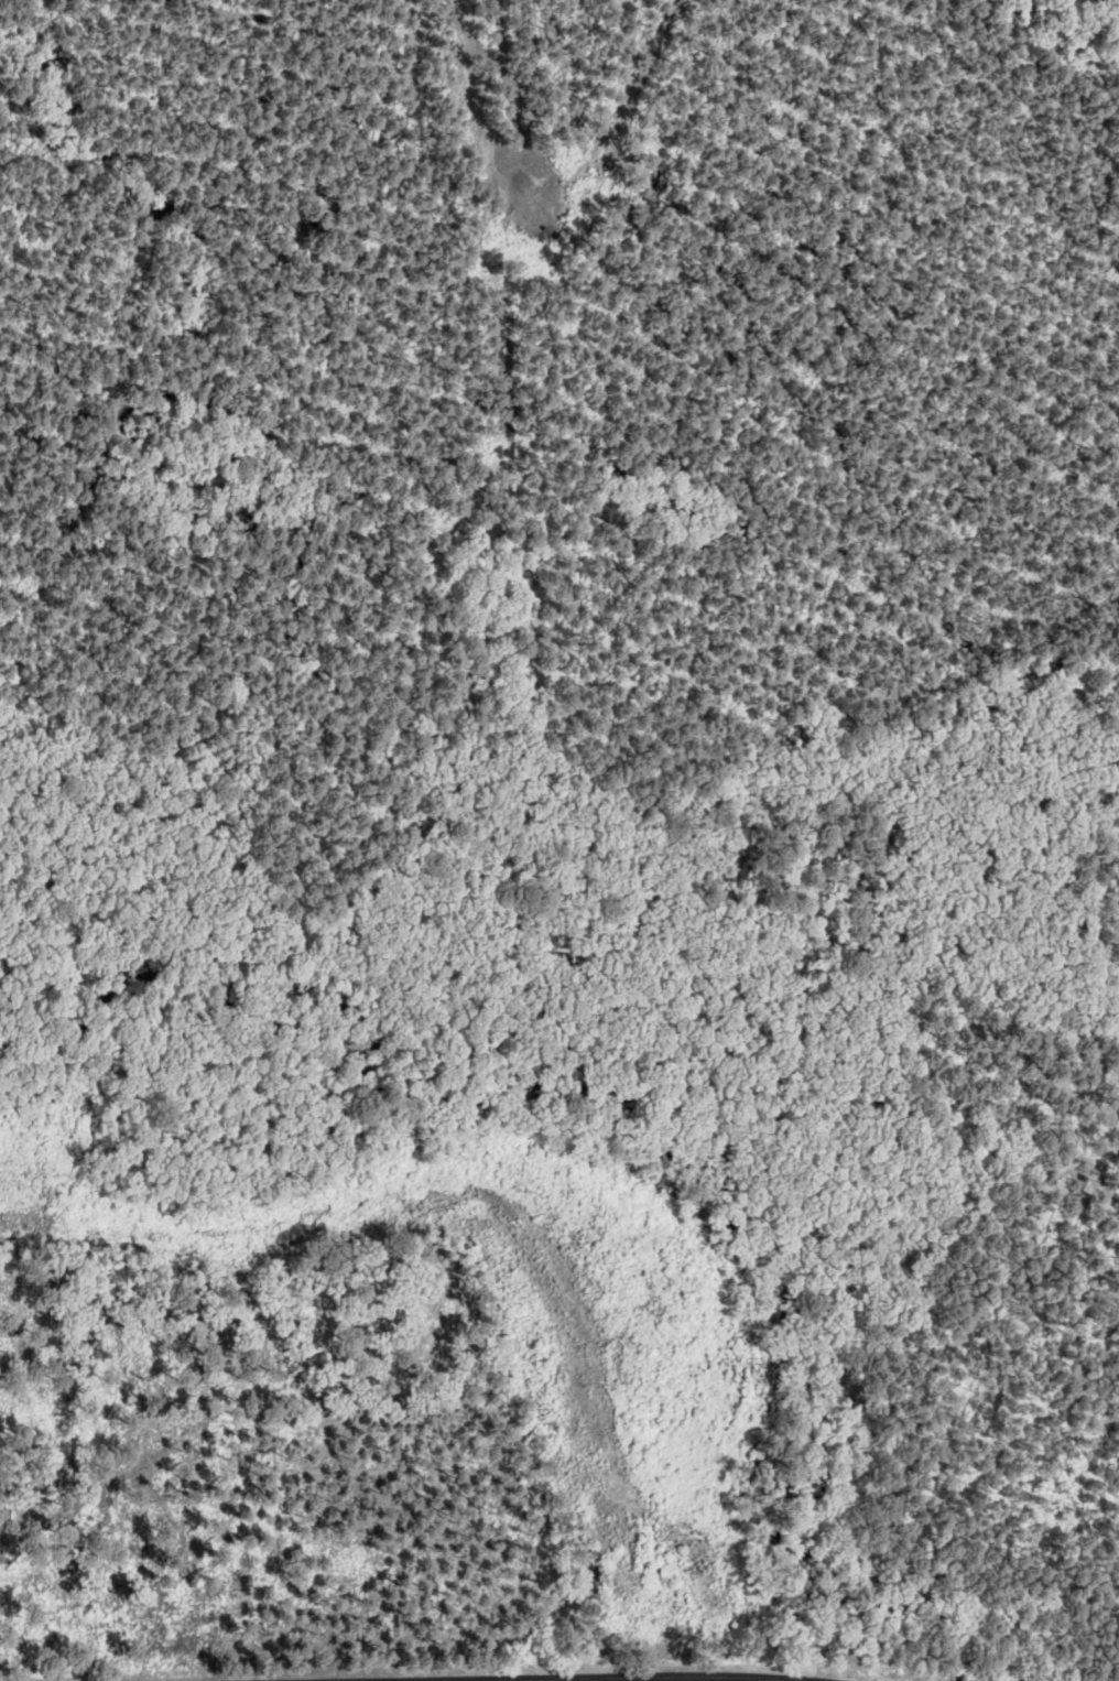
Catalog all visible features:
road: (667, 1677)

